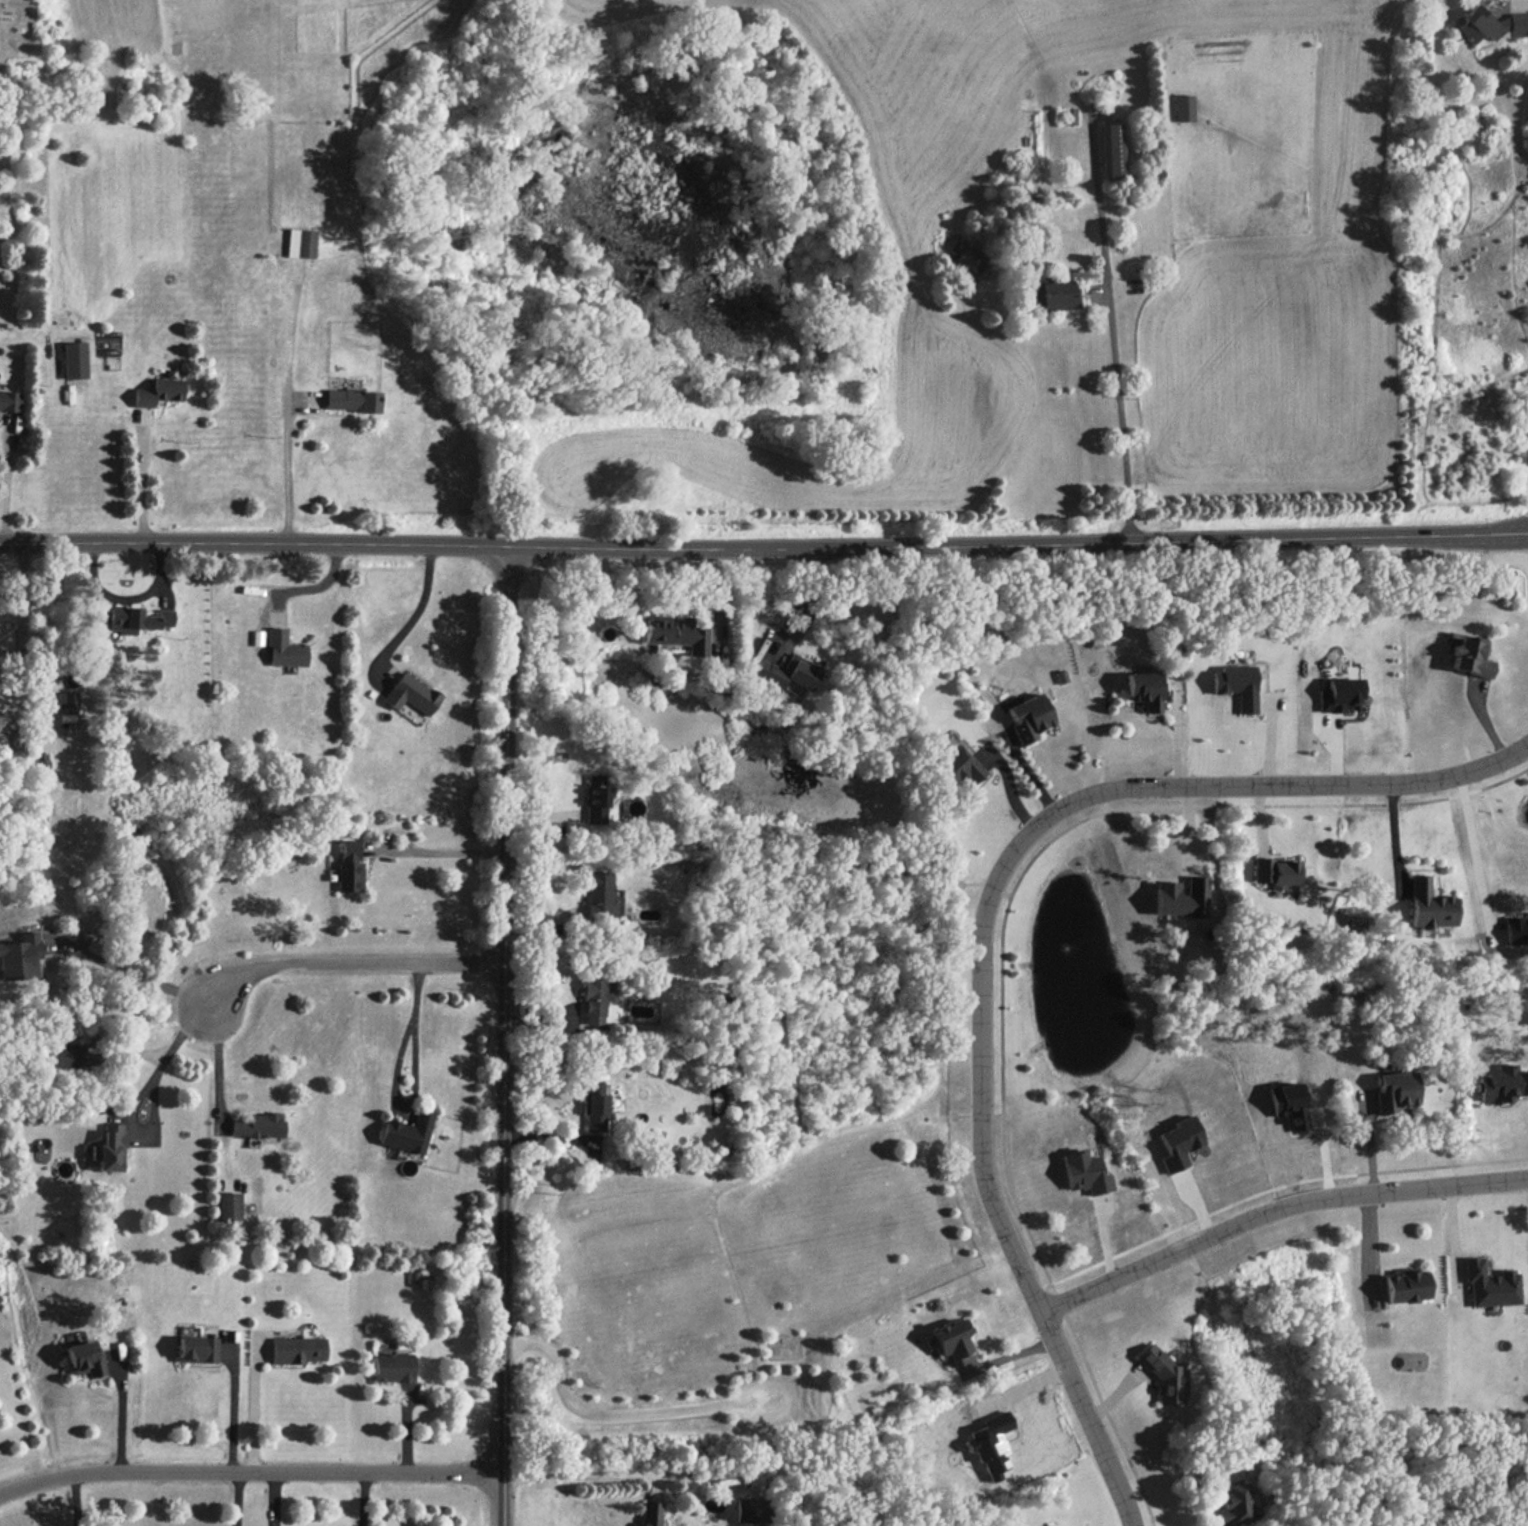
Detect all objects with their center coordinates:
road: (1520, 15)
building: (1491, 25)
building: (1182, 108)
building: (1111, 150)
building: (300, 243)
building: (1056, 295)
road: (1109, 328)
building: (74, 360)
building: (160, 389)
building: (9, 400)
building: (351, 400)
road: (288, 472)
road: (142, 486)
road: (6, 489)
road: (863, 543)
road: (99, 546)
road: (128, 595)
road: (22, 606)
road: (416, 615)
building: (137, 619)
building: (675, 632)
building: (257, 637)
building: (284, 649)
building: (1471, 657)
building: (788, 674)
building: (1237, 685)
building: (1143, 689)
building: (411, 694)
building: (1338, 695)
building: (67, 699)
building: (1027, 717)
building: (960, 766)
road: (1504, 777)
road: (1007, 784)
building: (594, 798)
road: (1393, 835)
road: (1472, 847)
road: (439, 851)
building: (349, 867)
building: (1276, 872)
road: (990, 887)
road: (1006, 894)
building: (598, 896)
building: (1181, 897)
building: (1430, 905)
road: (984, 928)
building: (1516, 930)
building: (19, 957)
road: (344, 964)
road: (128, 973)
building: (565, 1026)
road: (503, 1036)
road: (1001, 1041)
building: (65, 1055)
road: (930, 1055)
road: (165, 1061)
road: (792, 1066)
road: (219, 1072)
road: (396, 1078)
building: (1502, 1084)
building: (1394, 1091)
building: (1288, 1104)
building: (595, 1107)
road: (947, 1114)
road: (982, 1116)
road: (997, 1116)
building: (258, 1125)
building: (407, 1133)
building: (1178, 1143)
building: (111, 1148)
building: (1084, 1173)
park: (799, 1206)
building: (228, 1207)
road: (1276, 1209)
building: (1490, 1284)
building: (1405, 1287)
road: (1056, 1303)
park: (637, 1319)
building: (953, 1341)
building: (197, 1349)
building: (298, 1350)
road: (759, 1356)
building: (85, 1359)
building: (393, 1367)
building: (1161, 1375)
parking lot: (768, 1402)
road: (234, 1409)
road: (256, 1409)
road: (121, 1411)
road: (625, 1415)
building: (990, 1444)
road: (249, 1471)
road: (575, 1475)
road: (77, 1499)
road: (363, 1499)
building: (1231, 1505)
building: (750, 1510)
building: (649, 1513)
road: (1231, 1525)

